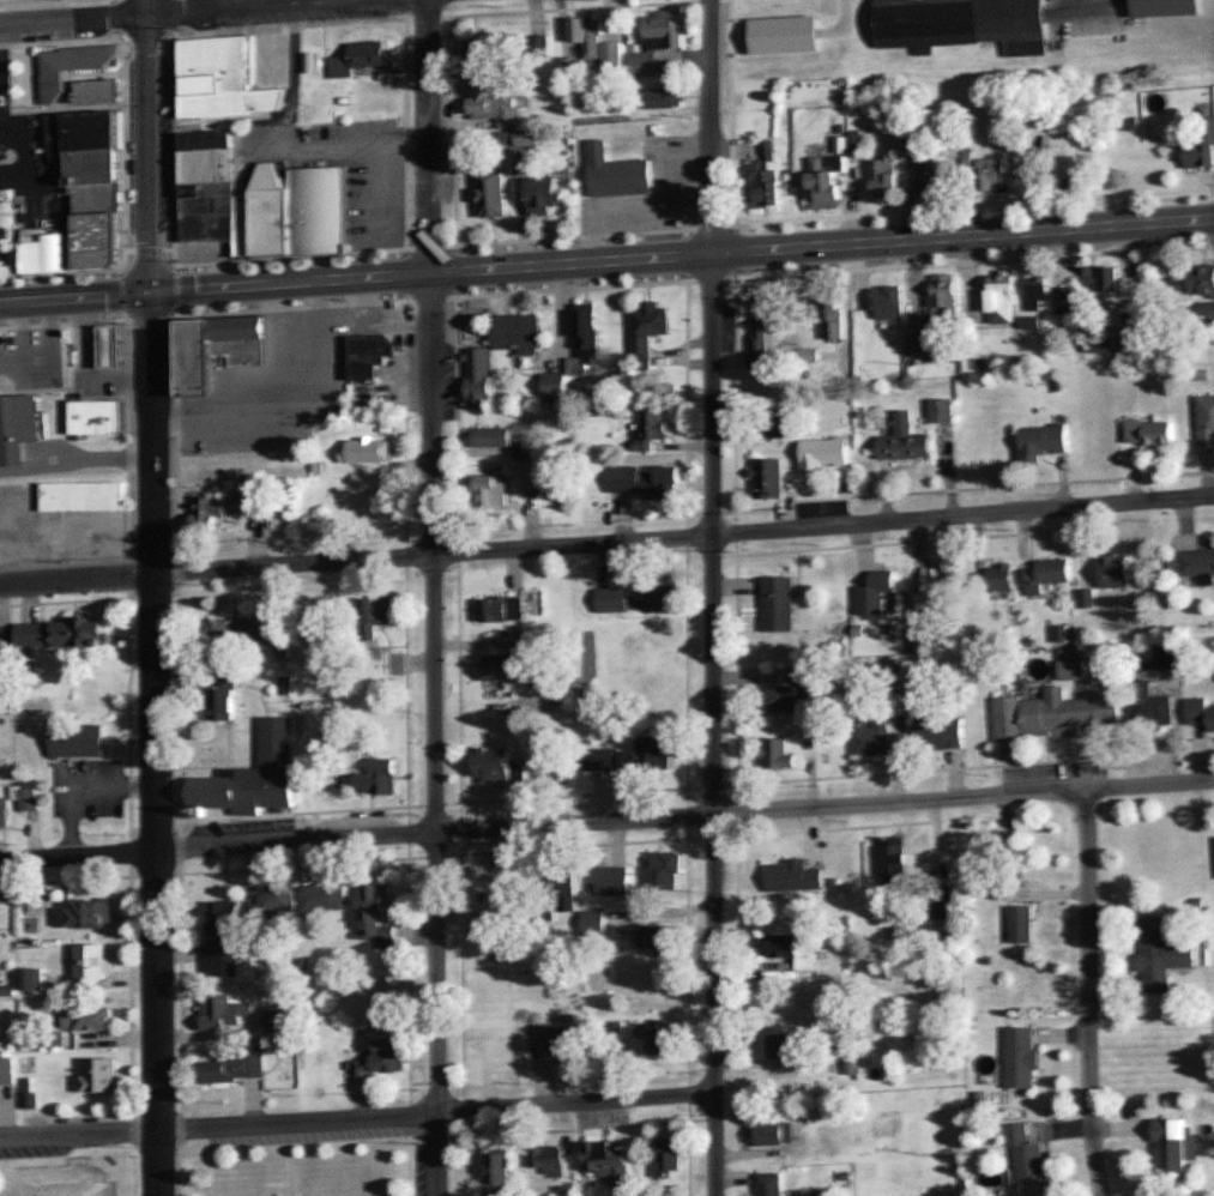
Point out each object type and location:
road: (248, 7)
building: (1168, 10)
road: (73, 19)
building: (962, 23)
building: (665, 31)
building: (781, 35)
building: (588, 37)
building: (487, 50)
building: (540, 50)
building: (373, 56)
building: (615, 61)
building: (646, 66)
building: (76, 68)
building: (235, 78)
building: (99, 93)
building: (665, 99)
building: (494, 105)
road: (428, 137)
road: (149, 146)
building: (1202, 146)
building: (618, 175)
building: (992, 176)
building: (934, 177)
building: (767, 180)
building: (887, 181)
building: (827, 185)
building: (92, 186)
building: (213, 192)
building: (494, 194)
building: (546, 197)
building: (302, 212)
road: (820, 246)
building: (46, 253)
building: (1203, 282)
road: (289, 284)
building: (1104, 285)
traffic signals: (151, 294)
building: (1038, 295)
building: (946, 296)
road: (76, 298)
building: (1003, 302)
building: (889, 304)
building: (835, 321)
building: (588, 332)
building: (650, 332)
building: (766, 332)
building: (518, 334)
building: (1117, 343)
road: (713, 345)
building: (113, 346)
building: (219, 352)
building: (372, 360)
building: (481, 381)
building: (943, 412)
building: (97, 418)
building: (1207, 427)
building: (18, 428)
building: (653, 430)
building: (1150, 435)
building: (494, 440)
building: (906, 442)
building: (1044, 445)
building: (369, 453)
building: (526, 453)
building: (826, 458)
building: (534, 477)
building: (647, 482)
building: (772, 482)
building: (493, 494)
building: (85, 500)
building: (219, 513)
building: (378, 513)
building: (343, 523)
road: (685, 536)
building: (1117, 574)
road: (78, 578)
building: (1050, 578)
building: (996, 581)
building: (937, 590)
building: (877, 594)
building: (641, 598)
building: (779, 606)
building: (505, 612)
building: (379, 616)
building: (249, 636)
building: (64, 638)
building: (1171, 658)
building: (1074, 666)
building: (515, 669)
building: (791, 694)
building: (223, 695)
building: (1152, 708)
building: (1201, 714)
building: (1058, 715)
road: (437, 735)
building: (941, 735)
building: (876, 738)
building: (78, 743)
road: (157, 744)
building: (651, 756)
building: (780, 757)
building: (604, 761)
building: (497, 767)
building: (373, 774)
building: (255, 778)
building: (5, 814)
road: (685, 819)
road: (78, 856)
building: (895, 859)
building: (798, 862)
building: (663, 870)
building: (614, 881)
building: (496, 887)
building: (562, 889)
building: (273, 901)
building: (325, 901)
building: (942, 904)
building: (378, 914)
building: (90, 916)
building: (1022, 925)
building: (659, 938)
building: (223, 941)
road: (717, 944)
building: (495, 946)
building: (797, 952)
building: (1164, 956)
building: (96, 962)
building: (34, 980)
road: (1091, 992)
building: (807, 996)
building: (224, 1013)
building: (90, 1020)
building: (282, 1022)
building: (659, 1038)
building: (561, 1040)
building: (495, 1044)
building: (787, 1049)
building: (1023, 1059)
building: (383, 1062)
building: (236, 1071)
building: (7, 1076)
building: (102, 1077)
building: (30, 1095)
road: (436, 1111)
building: (774, 1136)
road: (78, 1137)
building: (1173, 1148)
building: (1028, 1155)
building: (670, 1160)
building: (550, 1162)
building: (610, 1164)
building: (499, 1173)
building: (772, 1185)

